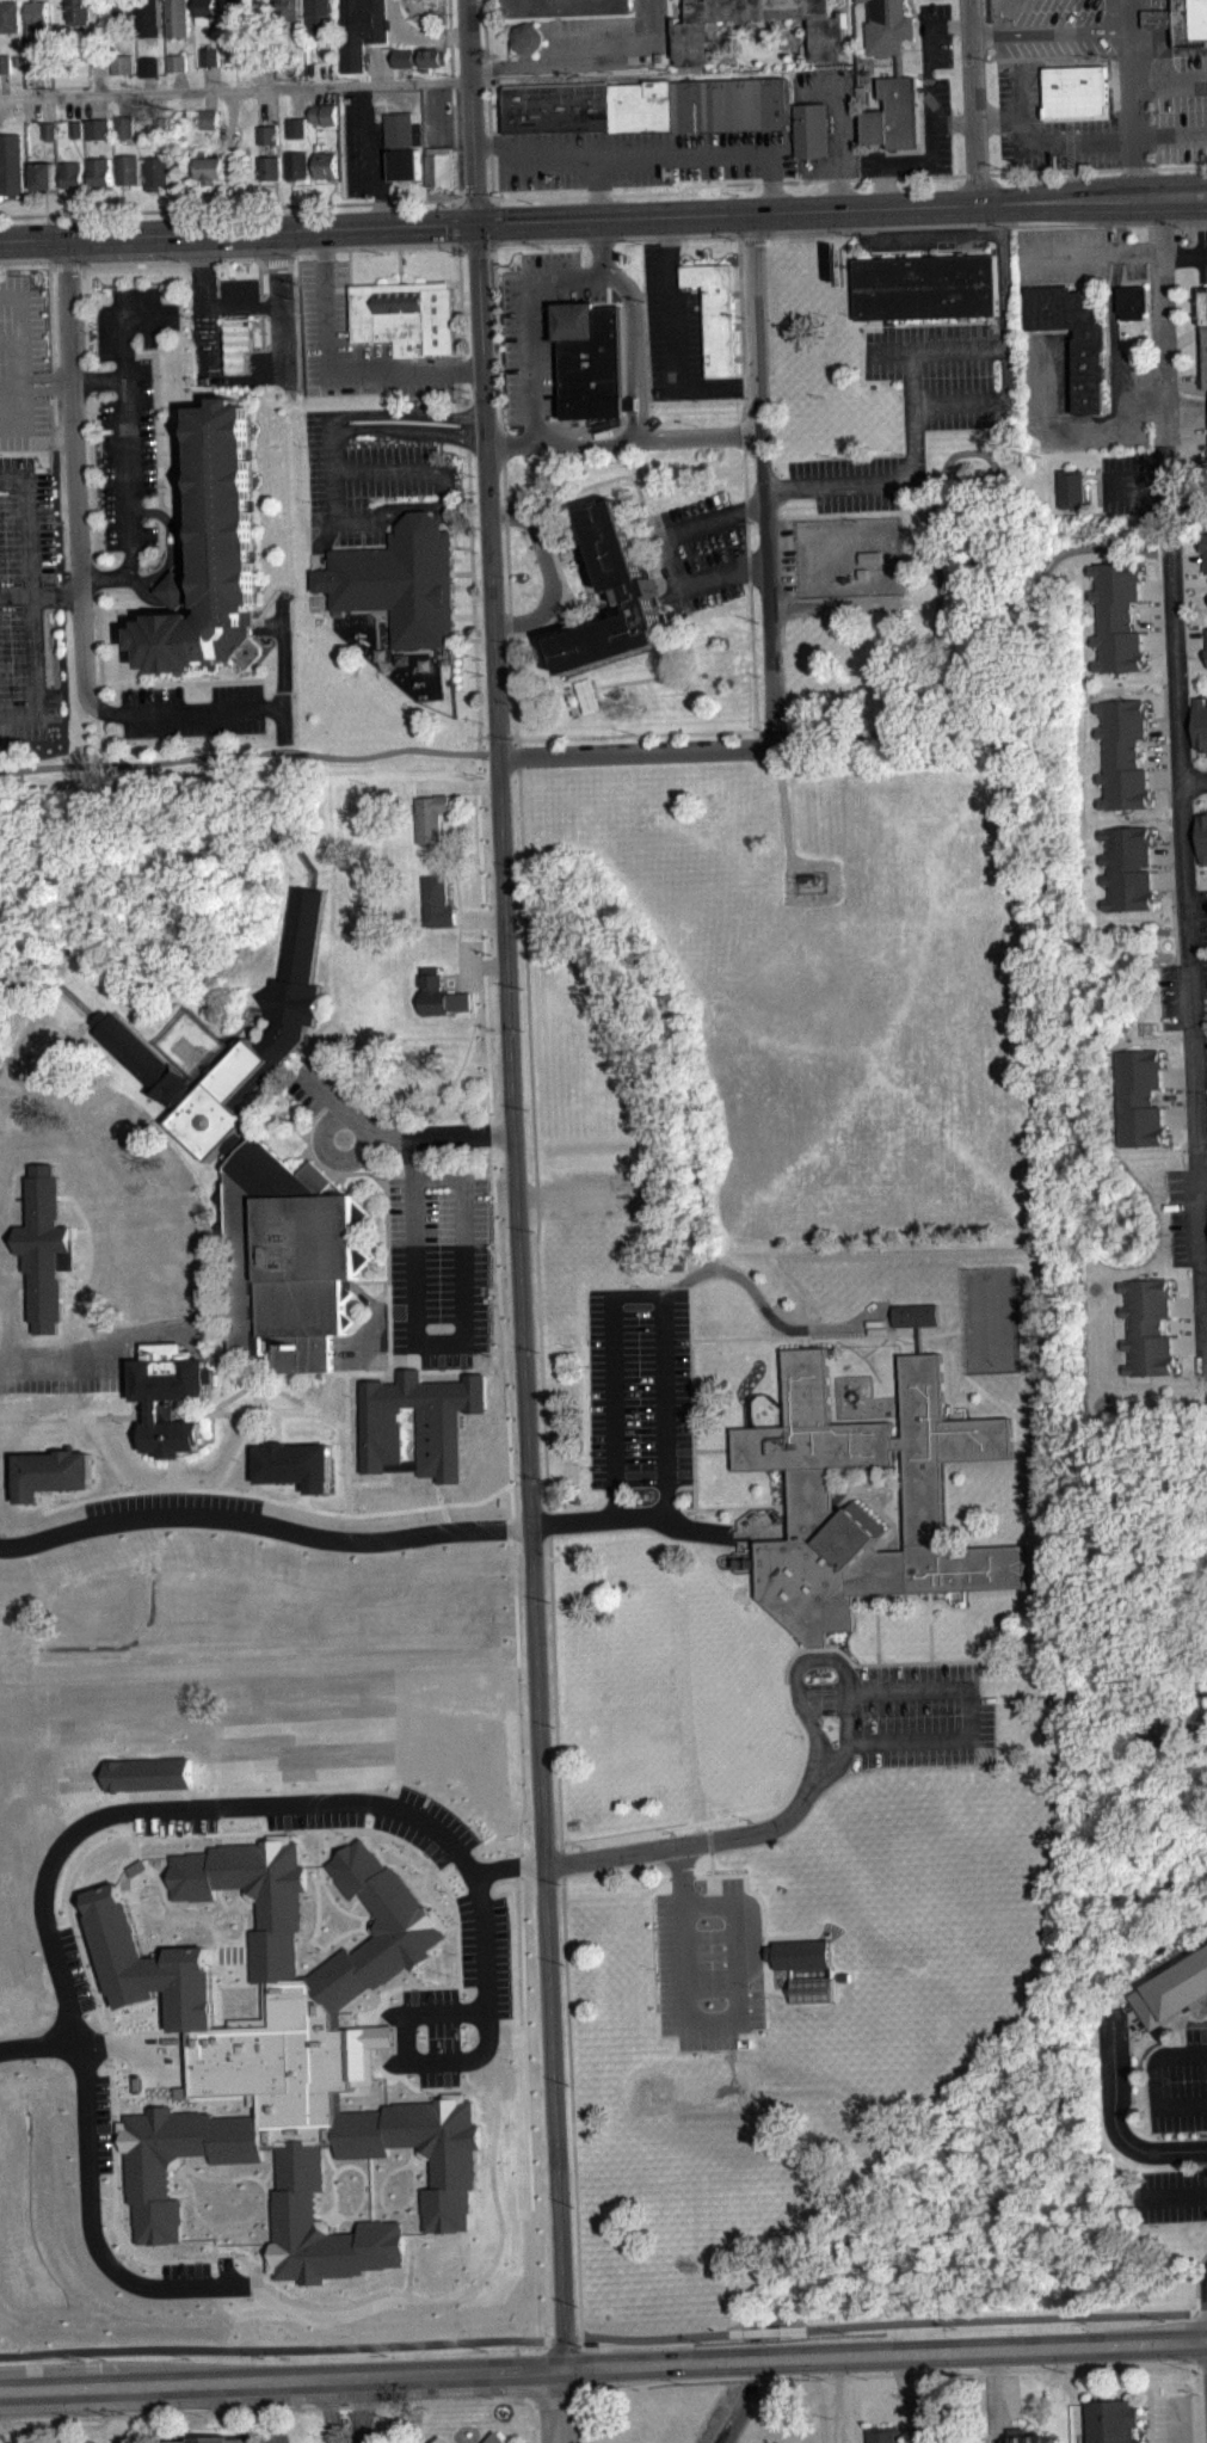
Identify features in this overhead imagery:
building: (565, 7)
building: (236, 10)
building: (80, 11)
building: (207, 11)
building: (124, 12)
building: (288, 13)
building: (319, 14)
building: (10, 16)
building: (150, 17)
building: (178, 17)
building: (38, 19)
road: (449, 21)
building: (1182, 21)
building: (888, 26)
building: (1158, 26)
building: (692, 27)
parking lot: (1053, 27)
building: (361, 30)
road: (1051, 31)
road: (986, 32)
building: (528, 36)
building: (96, 41)
building: (210, 55)
building: (420, 57)
building: (266, 59)
building: (177, 62)
building: (5, 63)
building: (122, 63)
building: (149, 66)
building: (177, 70)
building: (122, 72)
building: (150, 75)
road: (1171, 81)
road: (234, 88)
building: (1076, 91)
road: (1135, 98)
road: (488, 99)
parking lot: (925, 101)
road: (973, 101)
road: (844, 103)
building: (648, 105)
parking lot: (1181, 106)
building: (324, 113)
building: (894, 113)
road: (1020, 113)
parking lot: (438, 115)
parking lot: (832, 116)
road: (930, 116)
building: (209, 118)
road: (953, 121)
road: (454, 122)
building: (124, 125)
building: (160, 125)
building: (296, 127)
parking lot: (1047, 127)
building: (99, 128)
building: (813, 128)
building: (78, 129)
building: (404, 129)
building: (51, 130)
building: (269, 134)
road: (1171, 134)
building: (267, 142)
road: (1052, 143)
road: (647, 154)
parking lot: (639, 156)
building: (12, 162)
building: (325, 164)
building: (405, 164)
road: (1172, 164)
building: (297, 165)
building: (270, 166)
building: (441, 166)
building: (129, 168)
building: (210, 168)
road: (1063, 168)
building: (101, 171)
building: (156, 171)
road: (839, 171)
building: (72, 173)
building: (44, 174)
road: (975, 174)
road: (727, 181)
road: (598, 187)
road: (460, 192)
road: (474, 192)
road: (488, 192)
road: (228, 208)
road: (842, 209)
road: (451, 221)
road: (497, 221)
traffic signals: (476, 223)
road: (919, 226)
road: (238, 232)
road: (616, 236)
road: (752, 236)
road: (409, 245)
road: (476, 245)
road: (917, 245)
road: (314, 247)
road: (240, 258)
road: (1186, 260)
road: (275, 261)
road: (1098, 263)
road: (66, 264)
road: (87, 265)
road: (349, 269)
road: (1003, 273)
building: (926, 285)
road: (528, 291)
building: (1134, 300)
road: (260, 303)
road: (278, 303)
road: (667, 307)
building: (715, 312)
building: (406, 315)
road: (50, 318)
road: (21, 319)
building: (1205, 322)
parking lot: (540, 324)
road: (462, 325)
parking lot: (672, 326)
road: (497, 333)
building: (1073, 337)
road: (627, 338)
building: (236, 343)
parking lot: (356, 344)
road: (638, 349)
road: (119, 353)
road: (136, 353)
road: (153, 359)
building: (592, 359)
parking lot: (23, 363)
road: (334, 369)
parking lot: (946, 371)
road: (23, 374)
road: (48, 382)
road: (715, 382)
road: (940, 399)
road: (632, 402)
parking lot: (128, 405)
road: (1166, 412)
road: (402, 413)
road: (25, 418)
road: (629, 424)
road: (405, 427)
road: (998, 427)
road: (623, 438)
road: (327, 448)
road: (76, 464)
road: (468, 467)
road: (158, 468)
road: (432, 470)
road: (622, 475)
road: (762, 478)
parking lot: (858, 479)
parking lot: (364, 481)
building: (1071, 487)
road: (93, 490)
road: (560, 494)
road: (127, 498)
road: (1162, 513)
road: (337, 517)
road: (27, 524)
road: (449, 528)
road: (462, 529)
road: (168, 530)
parking lot: (703, 547)
building: (1205, 547)
road: (472, 548)
building: (214, 554)
road: (577, 554)
road: (669, 554)
building: (870, 555)
road: (938, 566)
road: (560, 568)
road: (549, 570)
road: (160, 571)
building: (863, 572)
building: (400, 580)
road: (473, 581)
building: (632, 583)
road: (509, 584)
road: (142, 591)
road: (57, 592)
road: (16, 593)
parking lot: (29, 602)
road: (750, 602)
road: (135, 609)
building: (1116, 616)
road: (99, 645)
road: (546, 664)
road: (672, 664)
road: (143, 669)
road: (35, 671)
road: (476, 673)
road: (250, 679)
road: (193, 682)
road: (1004, 682)
road: (136, 683)
road: (1017, 697)
road: (171, 708)
parking lot: (191, 709)
building: (1200, 722)
road: (104, 732)
road: (497, 734)
road: (760, 734)
road: (1166, 750)
road: (248, 752)
road: (633, 752)
road: (1052, 752)
building: (1123, 753)
road: (517, 756)
road: (1194, 779)
road: (456, 784)
road: (1203, 792)
road: (1186, 793)
building: (1206, 812)
building: (431, 817)
building: (1203, 837)
building: (1128, 868)
road: (1202, 875)
road: (1186, 876)
building: (437, 901)
road: (479, 916)
road: (1188, 929)
road: (481, 965)
road: (463, 987)
building: (439, 993)
road: (1180, 995)
parking lot: (1190, 1003)
road: (223, 1042)
building: (1141, 1097)
road: (1183, 1097)
road: (337, 1104)
road: (489, 1119)
road: (439, 1133)
road: (534, 1138)
road: (1196, 1167)
building: (265, 1170)
road: (363, 1173)
road: (383, 1173)
road: (1203, 1179)
road: (512, 1184)
road: (1189, 1217)
parking lot: (1189, 1231)
road: (466, 1241)
road: (81, 1255)
road: (85, 1273)
road: (209, 1285)
road: (69, 1298)
road: (1194, 1310)
road: (768, 1311)
building: (913, 1315)
park: (991, 1318)
building: (1150, 1325)
road: (903, 1331)
road: (948, 1331)
road: (757, 1336)
road: (663, 1339)
road: (917, 1339)
road: (802, 1341)
road: (875, 1344)
road: (103, 1349)
road: (388, 1350)
road: (858, 1354)
road: (4, 1360)
road: (79, 1364)
road: (432, 1368)
road: (253, 1380)
parking lot: (636, 1385)
road: (952, 1387)
building: (168, 1393)
road: (994, 1401)
road: (68, 1404)
road: (306, 1405)
road: (287, 1411)
road: (73, 1417)
road: (330, 1417)
road: (278, 1423)
building: (418, 1423)
road: (894, 1423)
road: (345, 1427)
road: (69, 1430)
road: (210, 1430)
building: (895, 1442)
road: (239, 1448)
road: (105, 1454)
building: (295, 1464)
road: (897, 1467)
building: (50, 1471)
road: (172, 1472)
road: (692, 1477)
road: (355, 1482)
road: (189, 1488)
road: (895, 1488)
building: (809, 1493)
road: (174, 1500)
road: (694, 1503)
road: (741, 1507)
road: (548, 1521)
road: (264, 1524)
road: (727, 1531)
road: (930, 1626)
road: (876, 1627)
road: (925, 1661)
road: (555, 1692)
parking lot: (913, 1715)
road: (848, 1730)
road: (879, 1741)
road: (205, 1804)
road: (522, 1821)
road: (702, 1841)
road: (562, 1862)
building: (805, 1963)
building: (1172, 1989)
building: (814, 1998)
road: (704, 2017)
road: (1184, 2026)
road: (1175, 2054)
road: (476, 2059)
road: (1177, 2104)
road: (572, 2107)
road: (1113, 2118)
parking lot: (1172, 2137)
road: (87, 2177)
road: (1166, 2192)
road: (1196, 2279)
road: (1206, 2296)
road: (889, 2322)
road: (561, 2338)
road: (525, 2339)
road: (258, 2349)
road: (603, 2368)
road: (517, 2374)
road: (868, 2375)
road: (1146, 2389)
road: (518, 2395)
road: (993, 2395)
road: (911, 2398)
road: (838, 2399)
road: (560, 2406)
road: (285, 2407)
road: (328, 2412)
road: (362, 2412)
road: (1145, 2413)
parking lot: (1171, 2419)
road: (1176, 2419)
building: (1113, 2420)
building: (883, 2435)
building: (1030, 2437)
building: (495, 2438)
building: (216, 2439)
building: (441, 2439)

